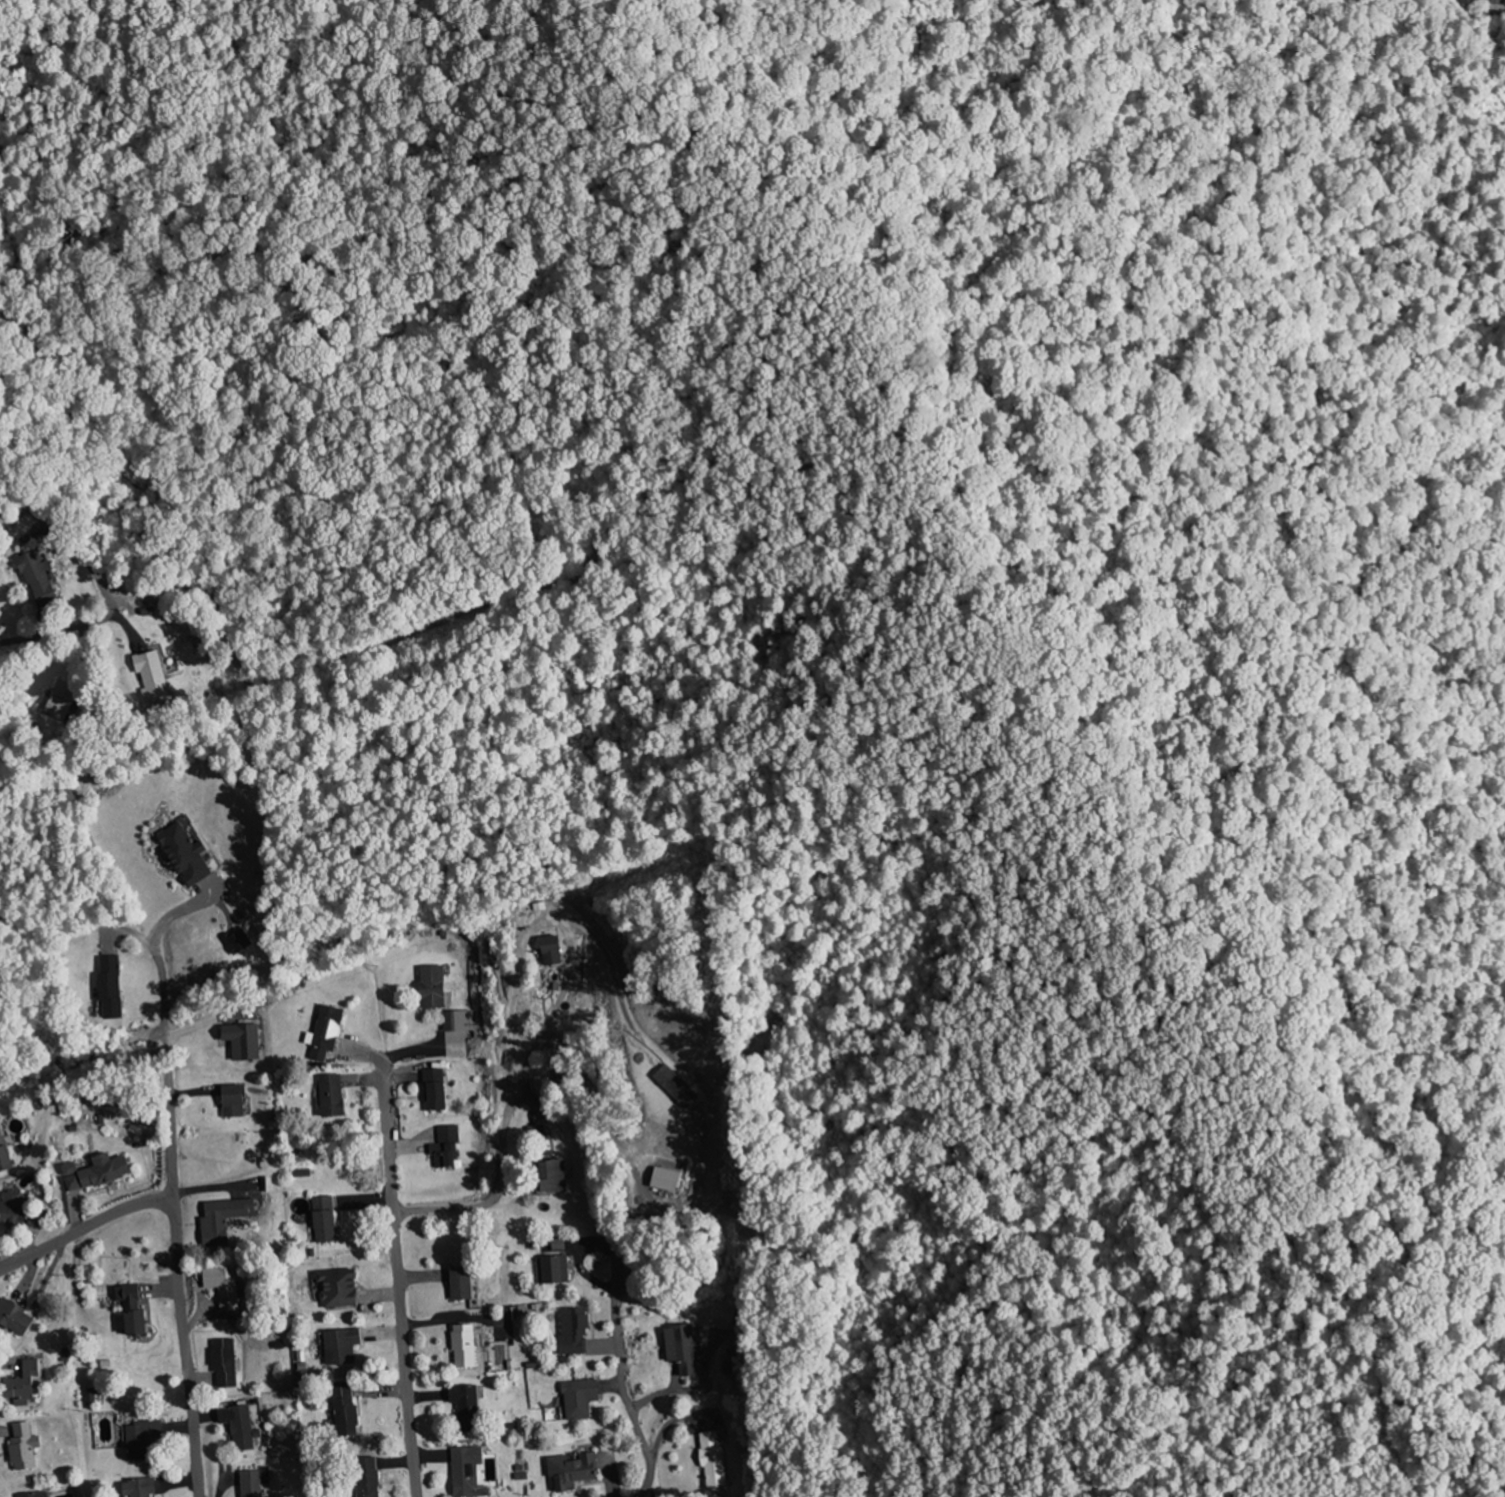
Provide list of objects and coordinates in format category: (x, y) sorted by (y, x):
building: (1503, 2)
building: (34, 576)
road: (102, 586)
road: (123, 619)
building: (151, 675)
building: (56, 708)
building: (235, 942)
building: (548, 950)
building: (107, 987)
building: (429, 987)
road: (635, 993)
building: (457, 1021)
building: (324, 1034)
building: (240, 1041)
building: (432, 1090)
building: (328, 1096)
road: (385, 1096)
building: (230, 1102)
building: (443, 1147)
building: (4, 1156)
building: (94, 1173)
building: (548, 1177)
building: (661, 1180)
building: (10, 1208)
building: (221, 1220)
building: (322, 1220)
road: (85, 1226)
building: (557, 1244)
road: (177, 1252)
building: (553, 1270)
building: (457, 1284)
building: (221, 1286)
building: (336, 1288)
building: (128, 1310)
building: (721, 1318)
building: (14, 1320)
building: (571, 1333)
building: (339, 1346)
building: (461, 1346)
building: (680, 1349)
building: (223, 1364)
building: (24, 1382)
building: (88, 1395)
building: (461, 1399)
building: (577, 1399)
road: (627, 1403)
building: (342, 1413)
building: (238, 1427)
building: (138, 1439)
building: (21, 1447)
building: (710, 1459)
road: (1400, 1460)
building: (569, 1471)
building: (465, 1472)
building: (365, 1476)
building: (249, 1484)
building: (136, 1488)
building: (31, 1495)

